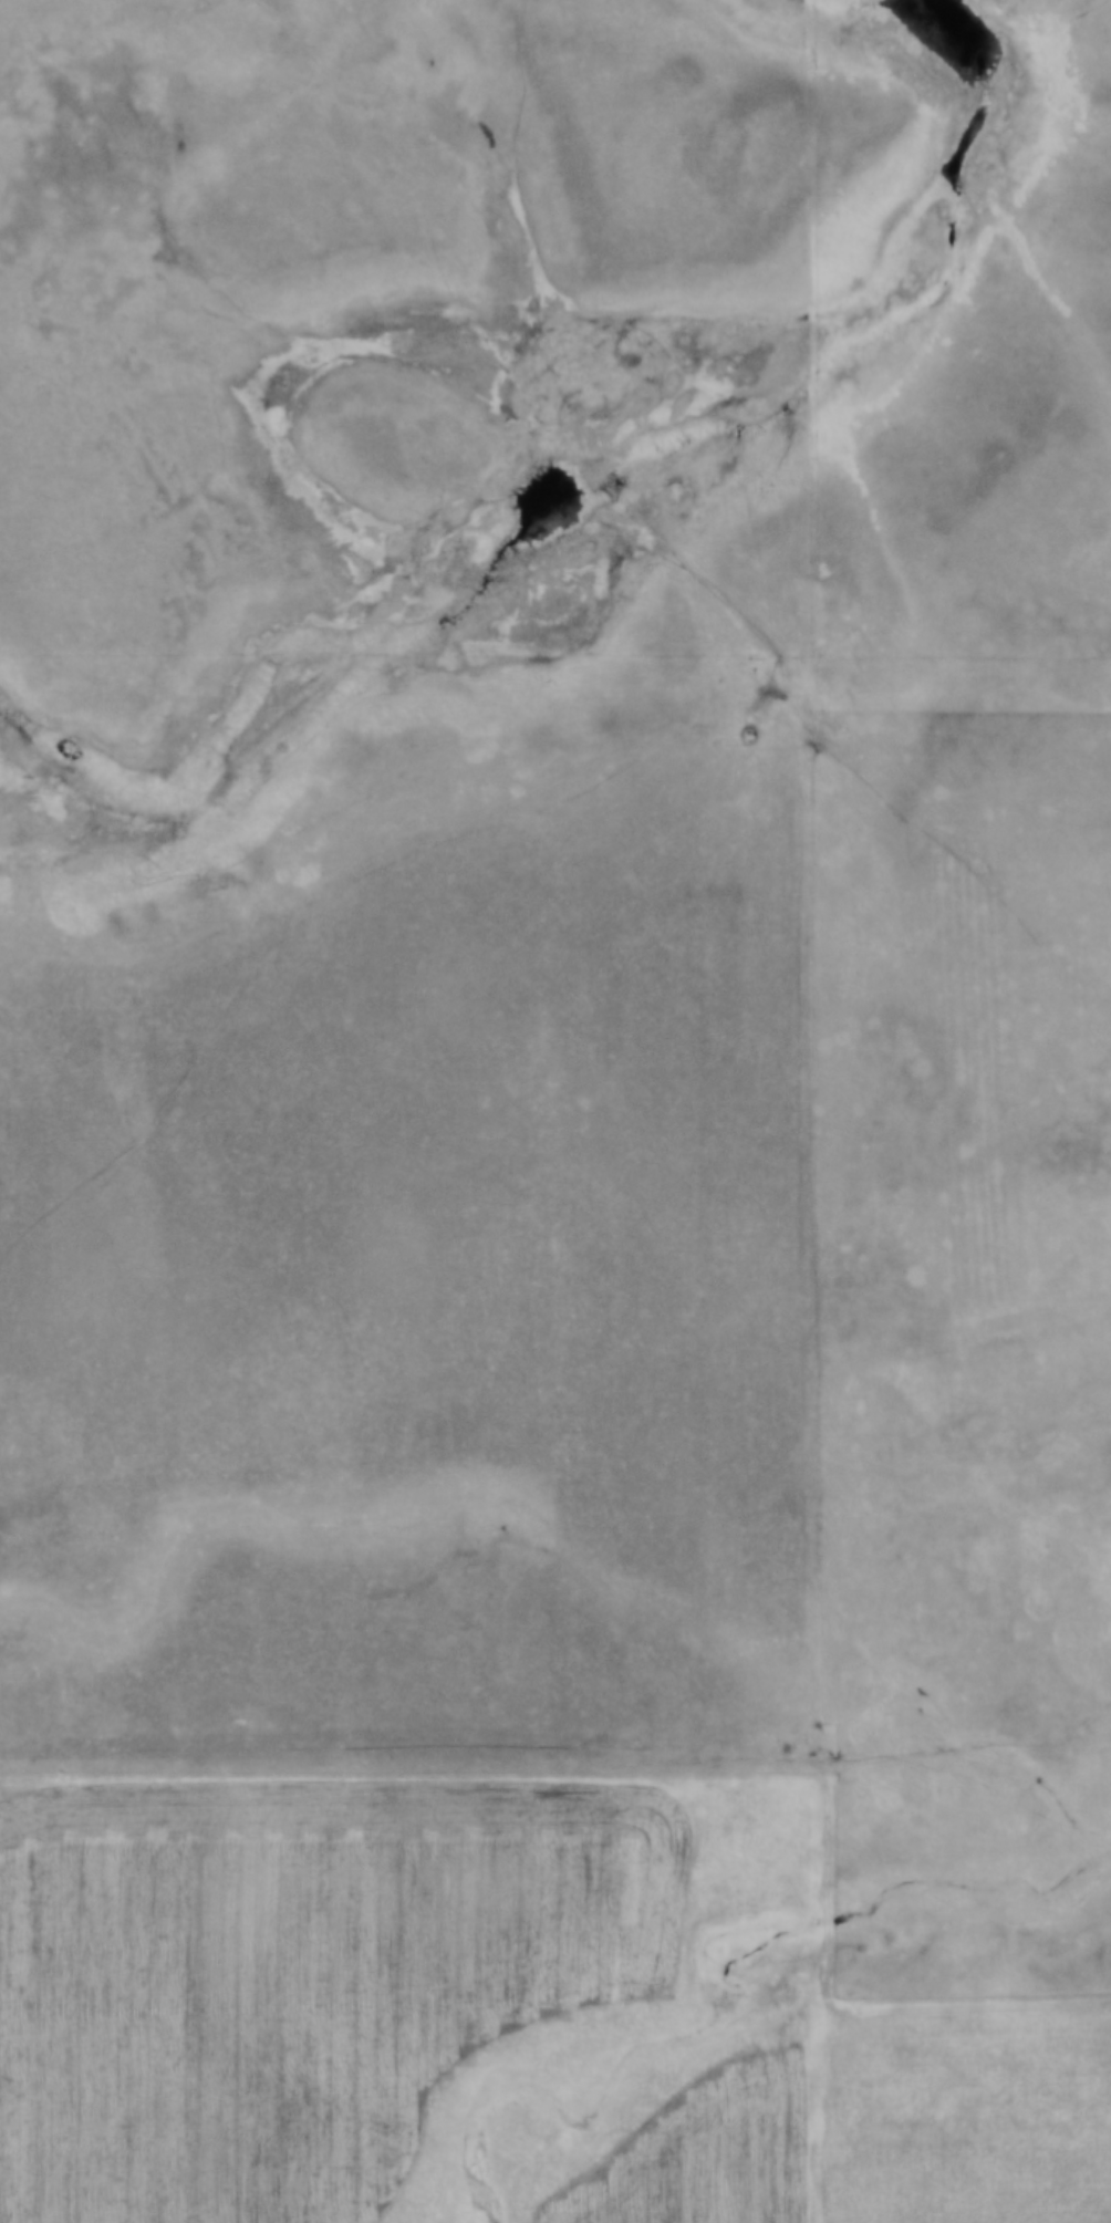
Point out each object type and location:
road: (851, 2016)

